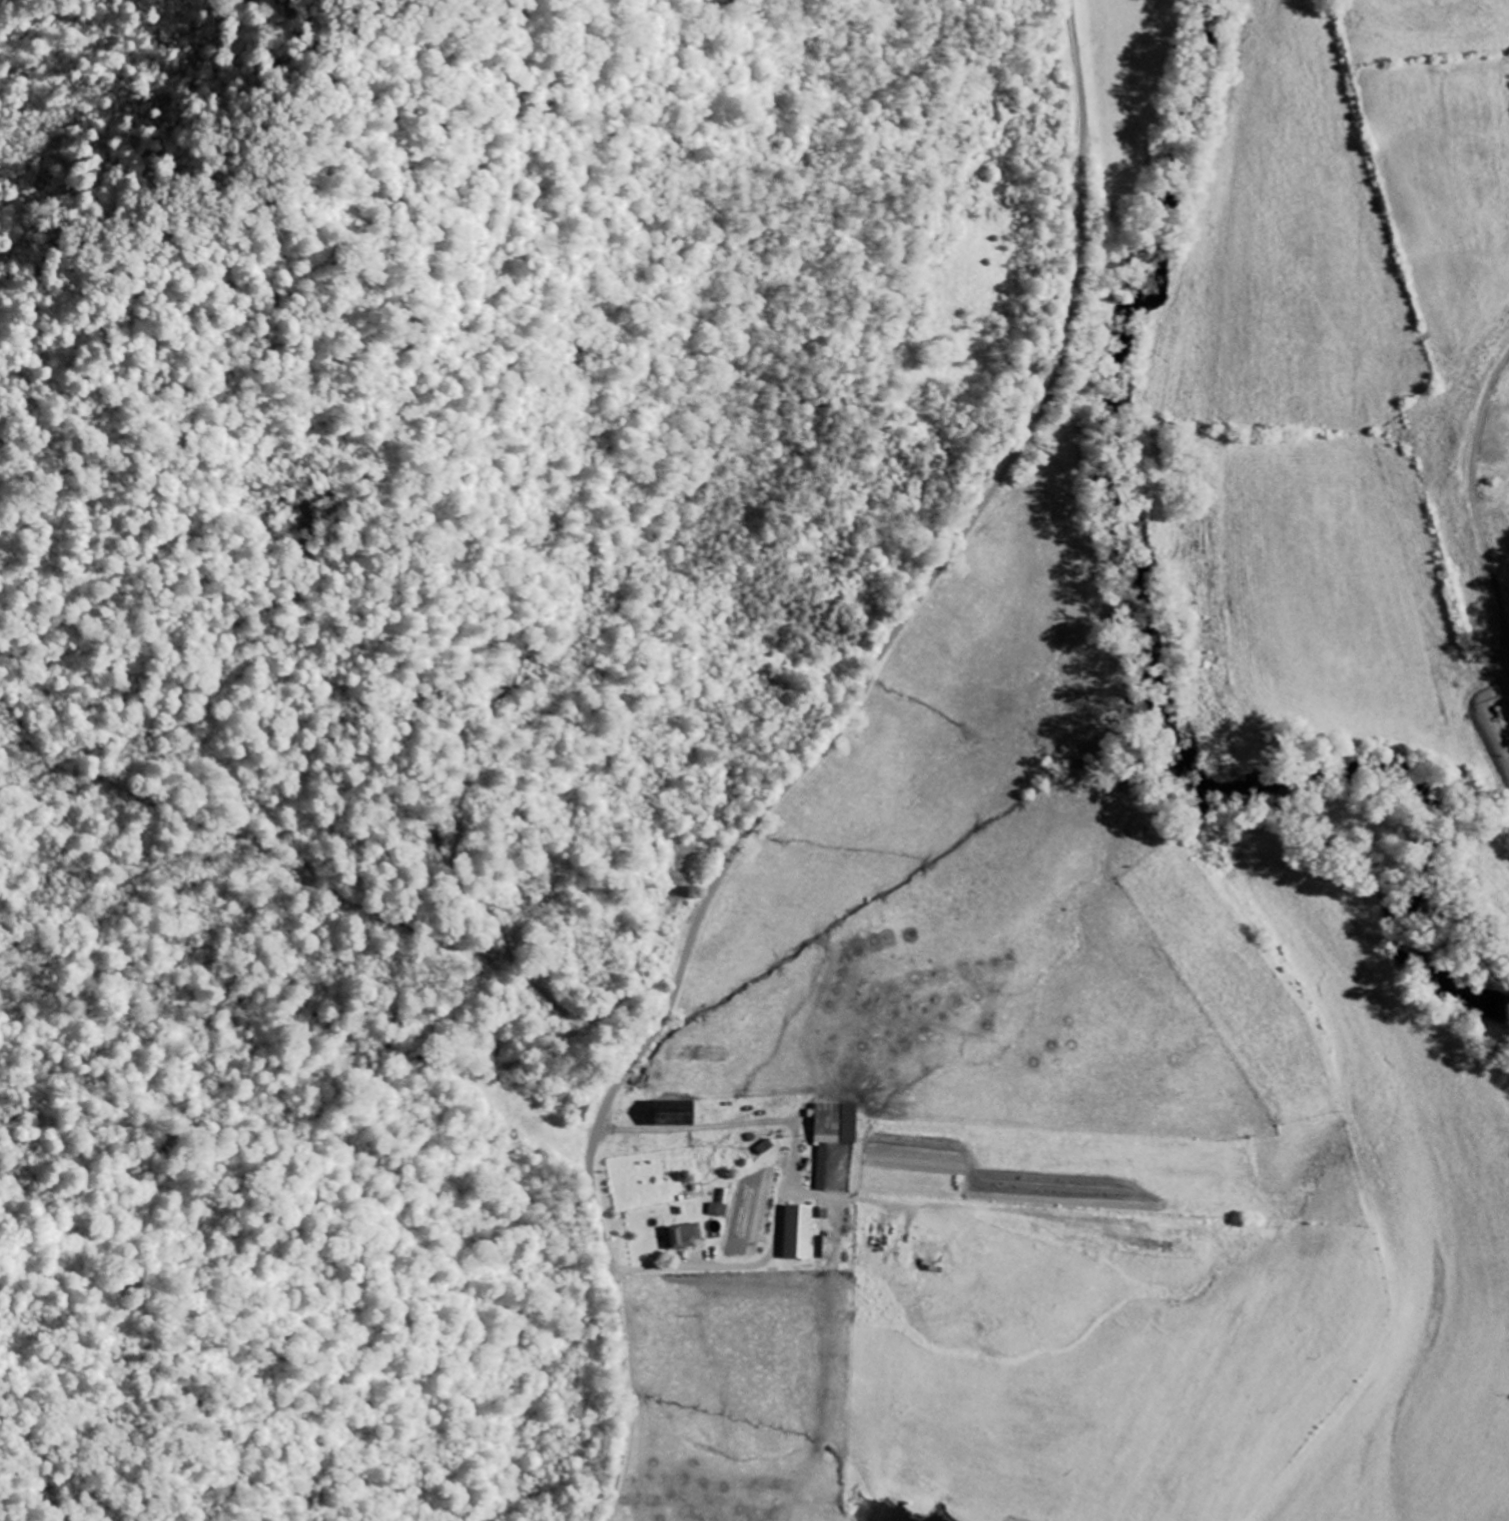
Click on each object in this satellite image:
road: (815, 757)
building: (676, 1113)
building: (835, 1132)
building: (719, 1210)
building: (799, 1232)
building: (685, 1237)

